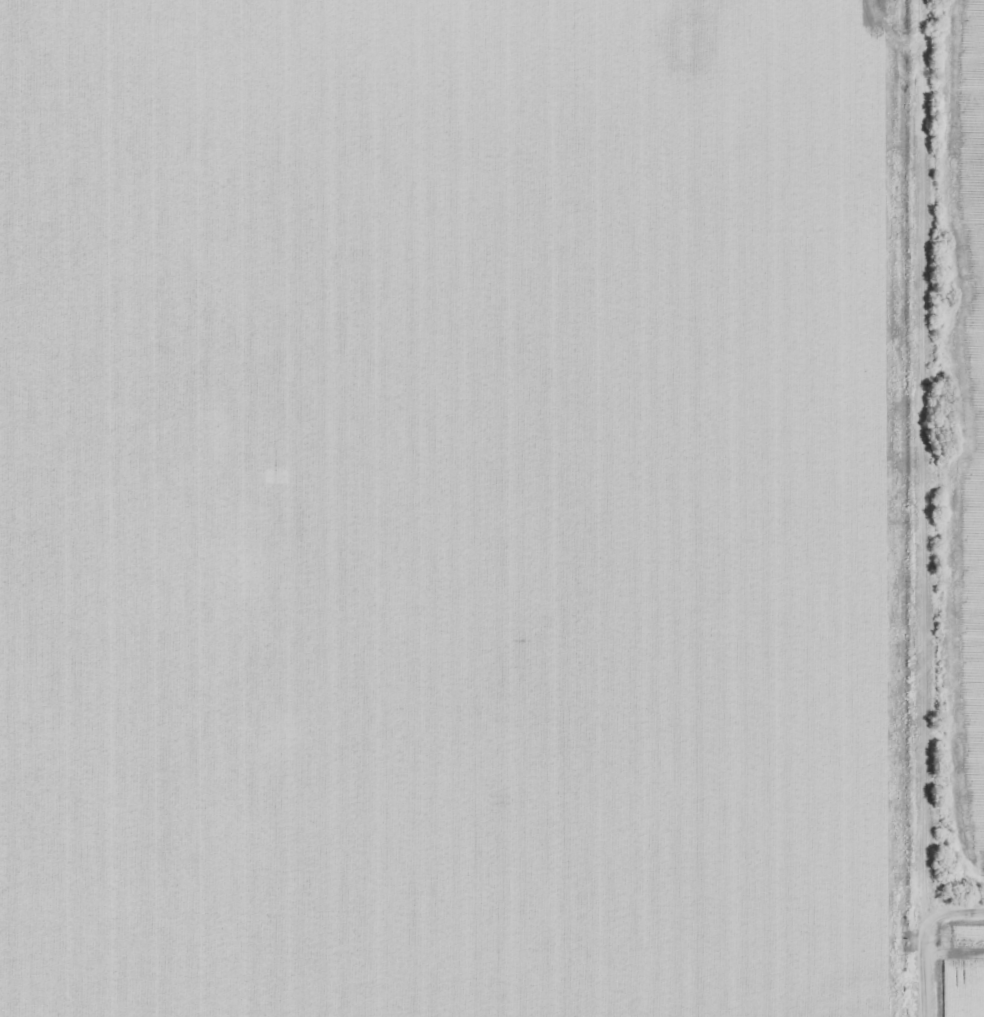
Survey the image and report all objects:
road: (956, 910)

